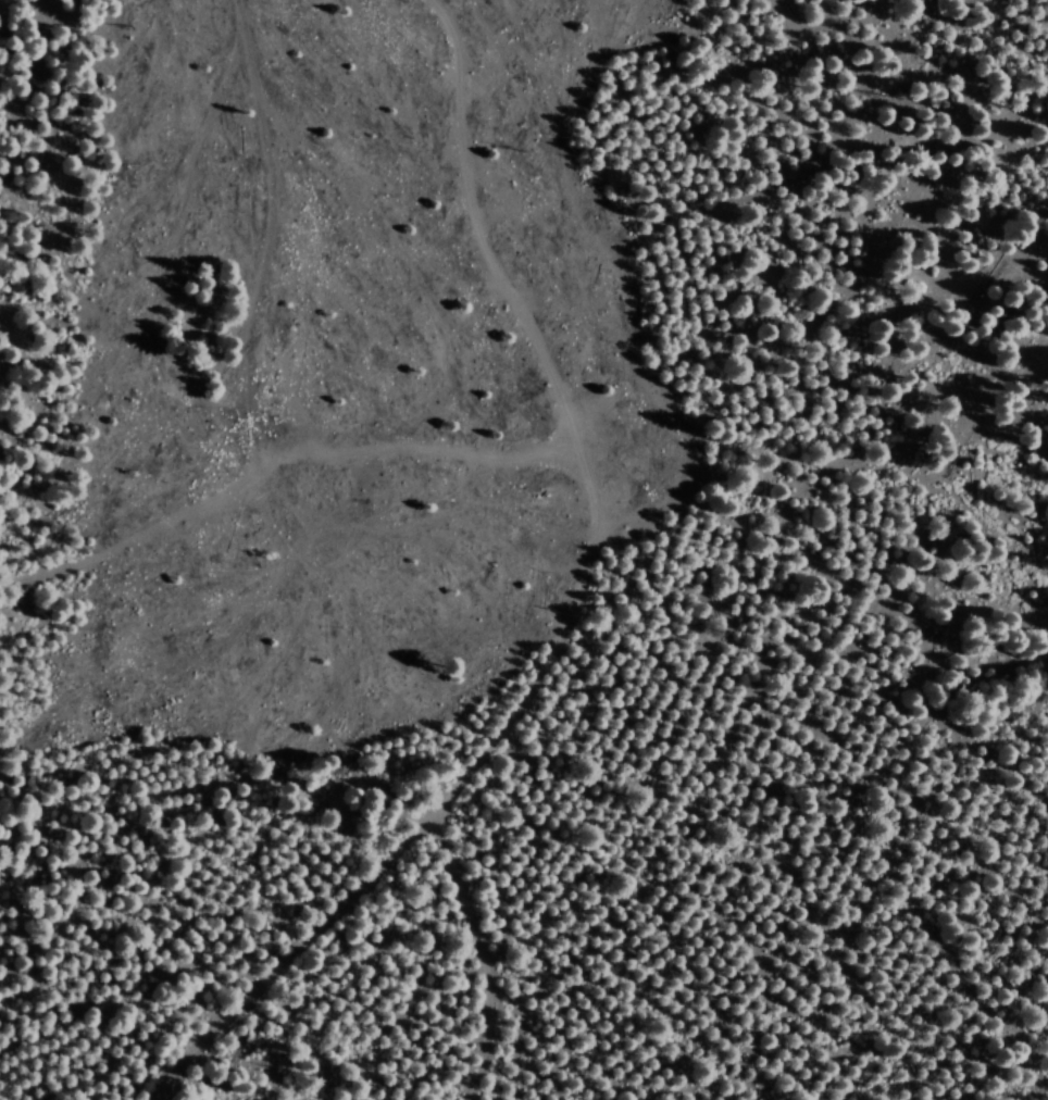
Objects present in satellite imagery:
road: (1046, 1)
road: (495, 220)
road: (594, 557)

